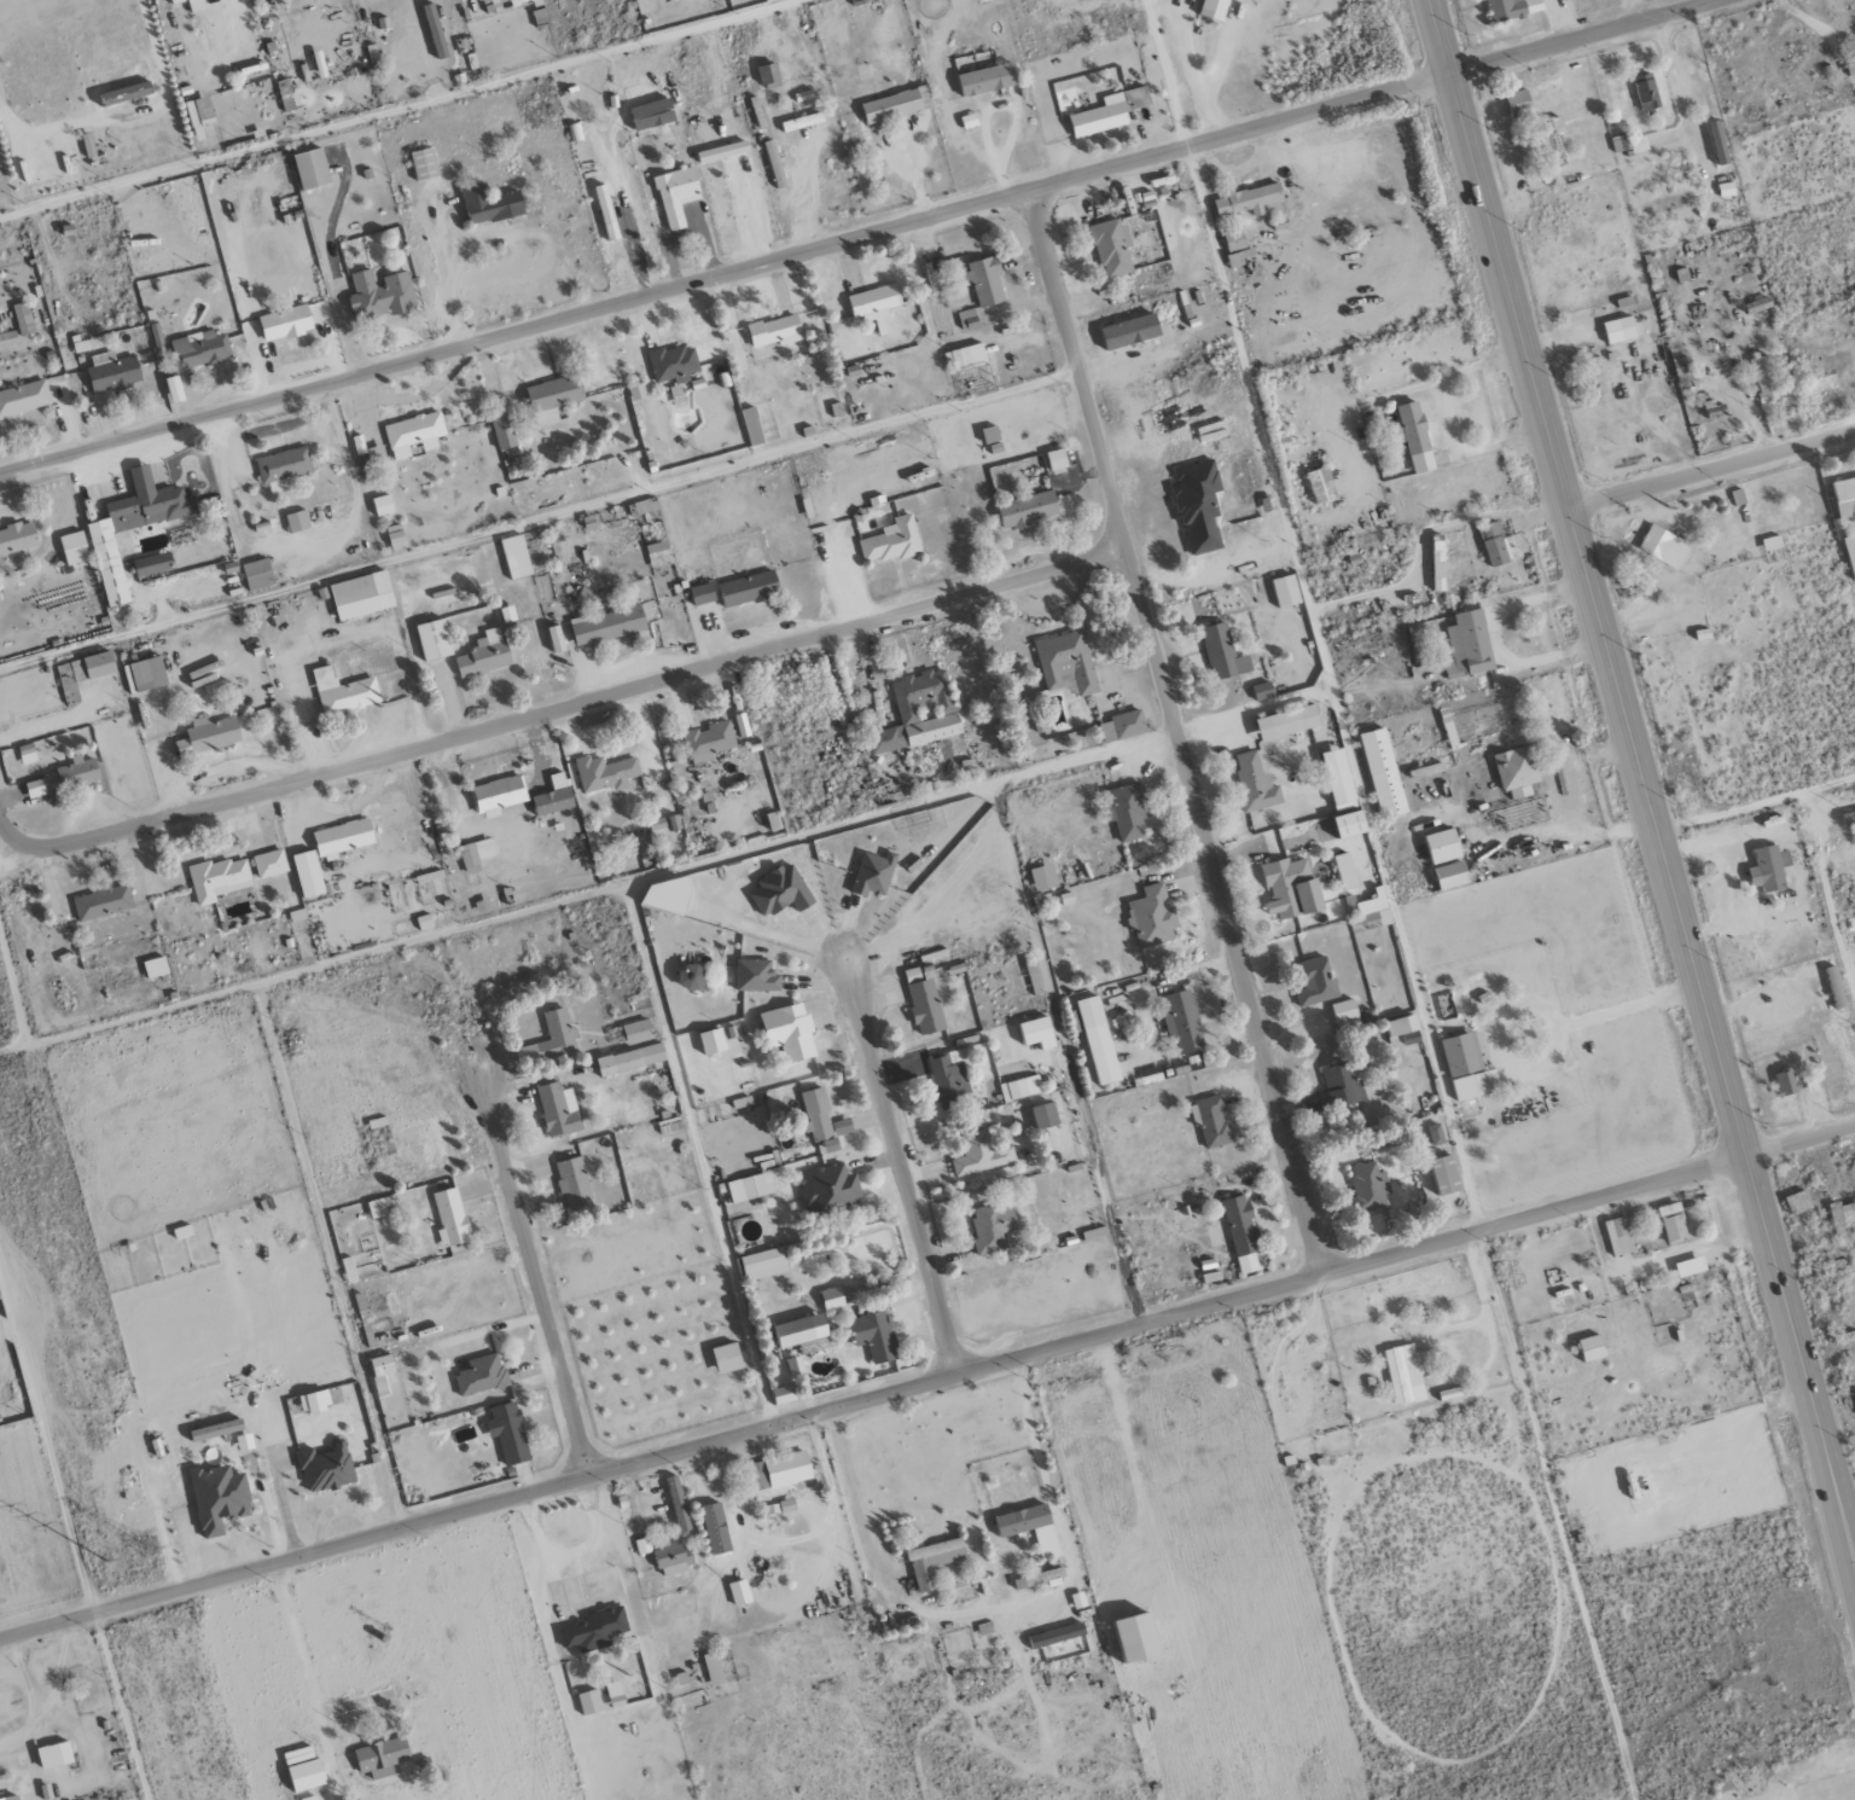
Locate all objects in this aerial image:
building: (982, 0)
building: (192, 5)
building: (1215, 8)
building: (1513, 8)
building: (436, 34)
building: (769, 75)
building: (988, 79)
building: (1646, 92)
building: (127, 93)
building: (1519, 103)
building: (895, 105)
road: (402, 109)
building: (202, 111)
building: (1113, 112)
building: (802, 122)
building: (1554, 139)
building: (1629, 143)
building: (1719, 143)
building: (723, 151)
building: (424, 164)
building: (313, 169)
building: (678, 194)
building: (1251, 201)
building: (490, 204)
building: (607, 213)
road: (854, 236)
building: (1235, 240)
building: (1112, 248)
building: (1239, 257)
building: (987, 281)
building: (380, 295)
building: (874, 304)
building: (24, 318)
building: (286, 323)
building: (1620, 330)
building: (775, 331)
building: (1132, 331)
building: (199, 349)
building: (969, 356)
building: (674, 364)
building: (112, 372)
building: (1766, 378)
building: (175, 389)
building: (638, 391)
building: (556, 393)
building: (24, 397)
road: (1446, 418)
building: (752, 426)
building: (505, 432)
building: (414, 434)
building: (1415, 436)
building: (376, 457)
building: (1058, 459)
building: (283, 468)
road: (1712, 470)
building: (1322, 486)
building: (1845, 497)
building: (383, 505)
building: (1199, 505)
building: (1029, 509)
building: (298, 521)
road: (537, 521)
building: (133, 527)
road: (1423, 530)
building: (17, 538)
building: (396, 538)
building: (891, 541)
building: (1495, 544)
building: (75, 547)
building: (1664, 547)
building: (1850, 551)
building: (659, 554)
building: (516, 557)
building: (1440, 563)
building: (153, 564)
building: (258, 574)
building: (749, 588)
building: (1287, 591)
building: (703, 594)
building: (364, 596)
road: (1313, 615)
building: (607, 625)
building: (435, 639)
building: (557, 639)
building: (1469, 645)
building: (1223, 652)
building: (484, 655)
building: (1066, 662)
building: (83, 673)
building: (145, 674)
building: (343, 691)
building: (1263, 691)
road: (1250, 708)
road: (558, 710)
building: (918, 713)
building: (1289, 722)
building: (1122, 726)
road: (1171, 732)
building: (209, 736)
building: (709, 741)
building: (27, 755)
building: (1517, 771)
road: (1642, 771)
building: (604, 773)
building: (1384, 773)
building: (65, 777)
building: (1255, 783)
building: (1342, 785)
building: (498, 795)
building: (553, 801)
building: (1128, 812)
building: (1849, 818)
building: (673, 824)
building: (1351, 824)
building: (658, 828)
building: (344, 838)
building: (1444, 846)
building: (470, 859)
building: (269, 864)
building: (1767, 870)
building: (1345, 871)
building: (308, 873)
building: (873, 873)
building: (1453, 876)
building: (1043, 877)
building: (219, 878)
road: (1581, 878)
building: (1292, 888)
building: (781, 892)
building: (103, 902)
building: (1370, 910)
building: (1152, 917)
building: (156, 966)
building: (757, 976)
building: (693, 977)
building: (1314, 981)
building: (1836, 987)
road: (1597, 1003)
building: (925, 1008)
building: (1345, 1011)
building: (1182, 1021)
building: (1405, 1029)
building: (638, 1032)
building: (790, 1032)
road: (668, 1033)
building: (1039, 1033)
building: (552, 1039)
building: (1098, 1040)
building: (713, 1041)
building: (632, 1059)
building: (1469, 1068)
power tower: (17, 1070)
building: (948, 1079)
building: (1786, 1082)
building: (1342, 1085)
building: (1020, 1088)
building: (558, 1110)
building: (818, 1115)
building: (1046, 1116)
building: (1210, 1121)
building: (1436, 1134)
building: (982, 1154)
road: (897, 1161)
building: (1447, 1175)
building: (574, 1181)
building: (1368, 1186)
building: (749, 1190)
building: (830, 1191)
building: (1798, 1203)
building: (380, 1206)
building: (1842, 1215)
building: (452, 1218)
building: (1674, 1223)
building: (992, 1227)
building: (1243, 1235)
building: (1620, 1237)
road: (529, 1258)
road: (1656, 1261)
building: (764, 1264)
building: (832, 1299)
building: (802, 1330)
building: (874, 1336)
road: (1548, 1339)
building: (1592, 1348)
building: (727, 1358)
building: (795, 1366)
building: (383, 1374)
building: (1407, 1374)
building: (482, 1375)
road: (927, 1384)
building: (783, 1394)
building: (315, 1403)
building: (217, 1430)
building: (508, 1433)
road: (46, 1442)
building: (245, 1442)
road: (1186, 1445)
building: (327, 1468)
building: (780, 1471)
road: (850, 1496)
building: (219, 1498)
building: (679, 1504)
building: (1031, 1528)
building: (717, 1529)
power tower: (151, 1551)
building: (674, 1558)
power tower: (101, 1562)
building: (934, 1562)
building: (1043, 1578)
building: (740, 1593)
building: (594, 1630)
building: (1057, 1636)
building: (1141, 1639)
road: (300, 1655)
building: (714, 1668)
building: (615, 1694)
building: (589, 1702)
road: (121, 1706)
building: (56, 1755)
building: (308, 1775)
building: (310, 1798)

